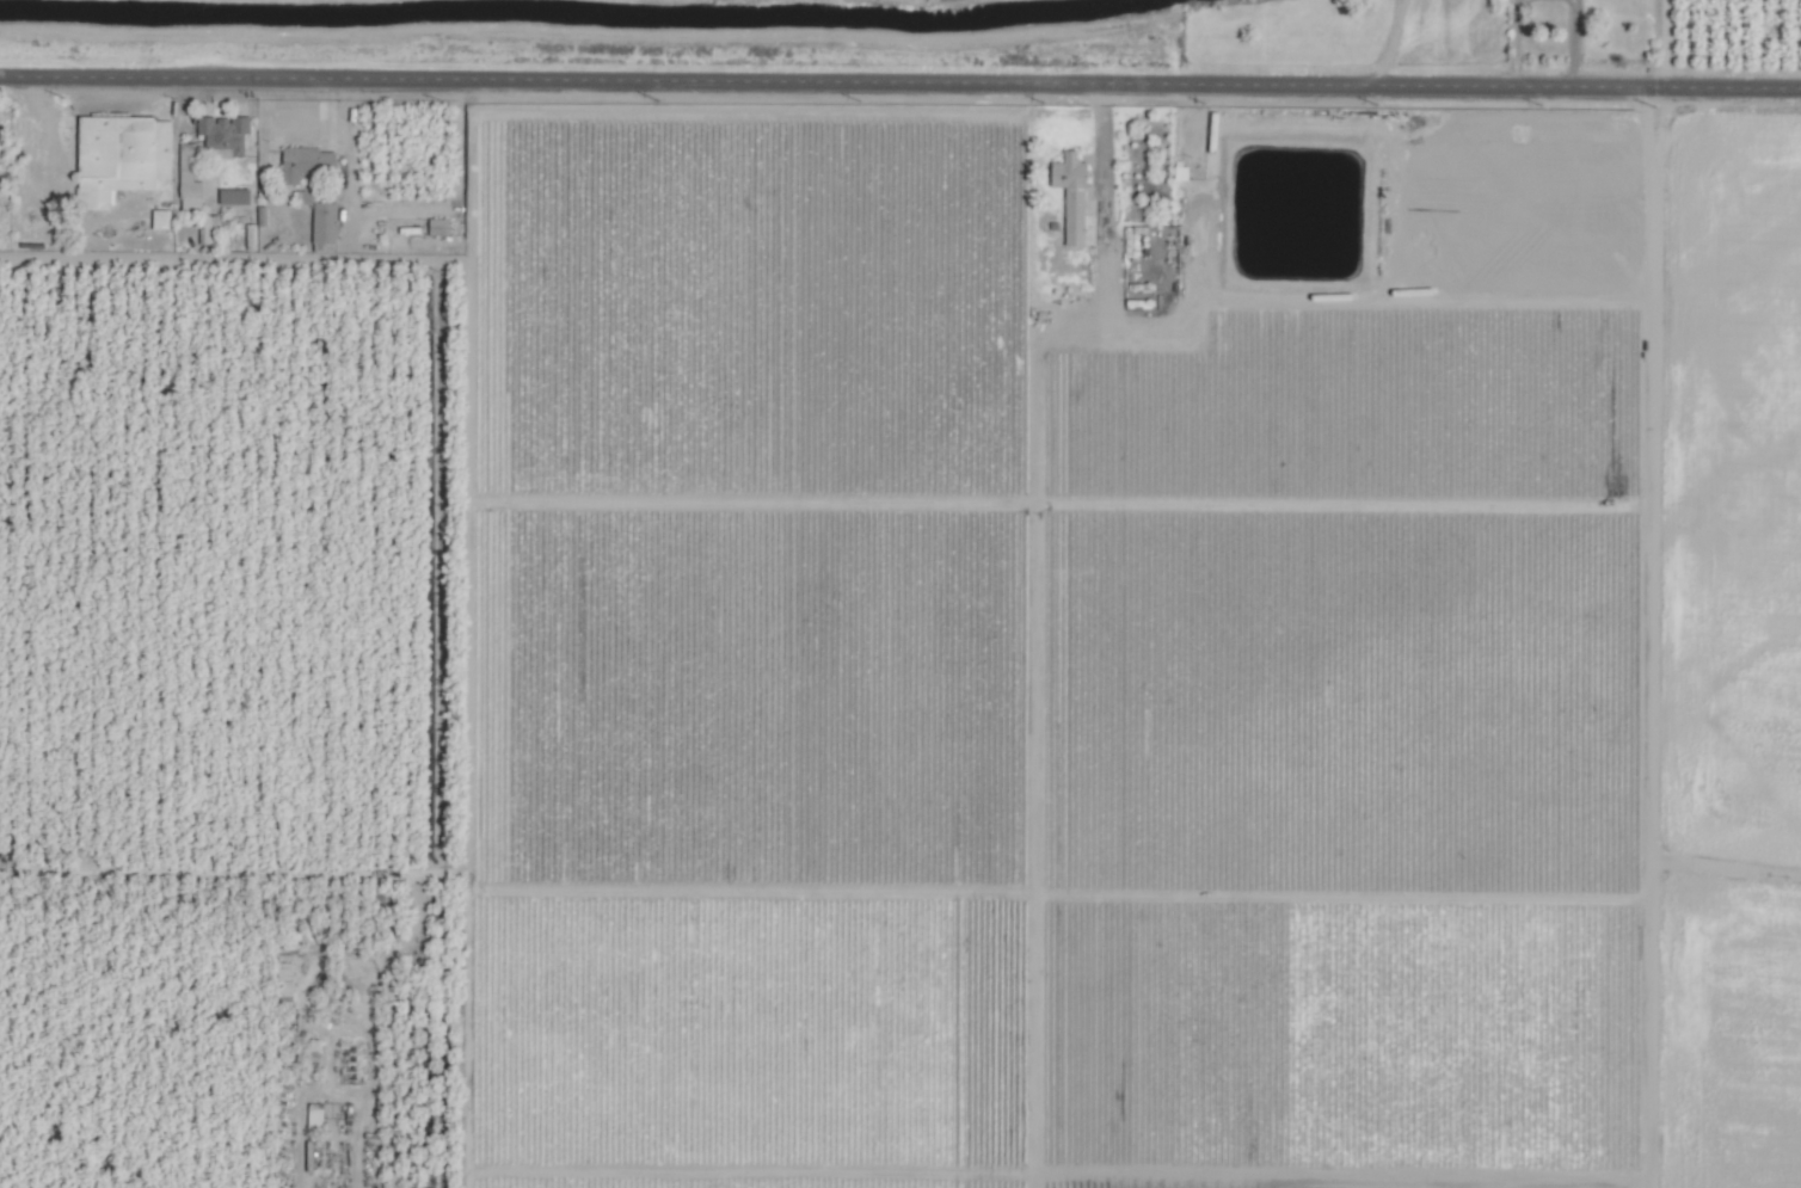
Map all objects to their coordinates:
road: (1514, 2)
road: (1516, 42)
road: (1573, 42)
road: (2, 75)
road: (903, 81)
building: (225, 135)
building: (122, 156)
building: (306, 161)
building: (189, 181)
building: (1072, 195)
building: (235, 196)
building: (305, 197)
building: (161, 220)
building: (325, 222)
building: (210, 229)
crop: (900, 593)

